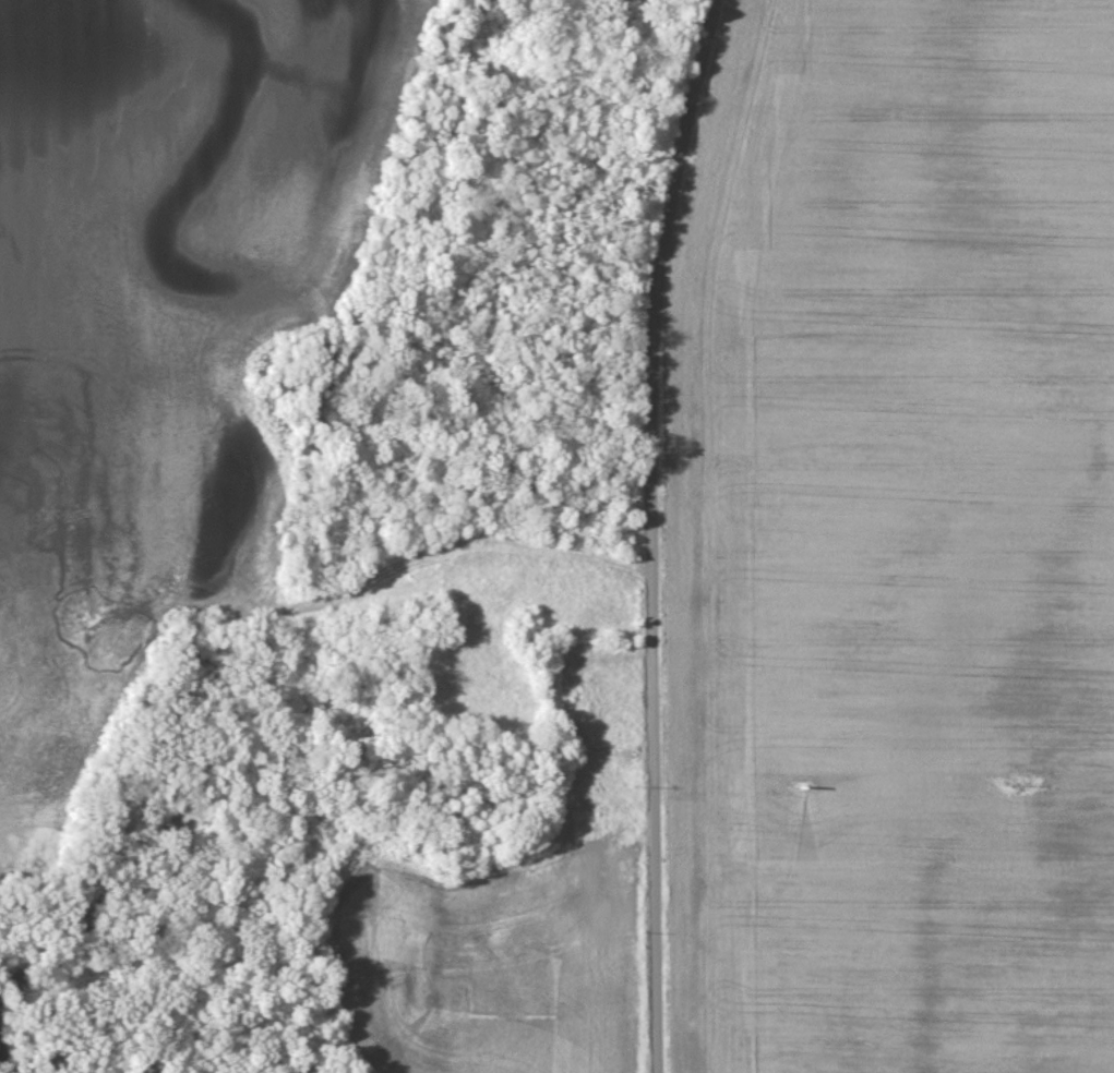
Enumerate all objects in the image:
road: (648, 533)
road: (300, 605)

